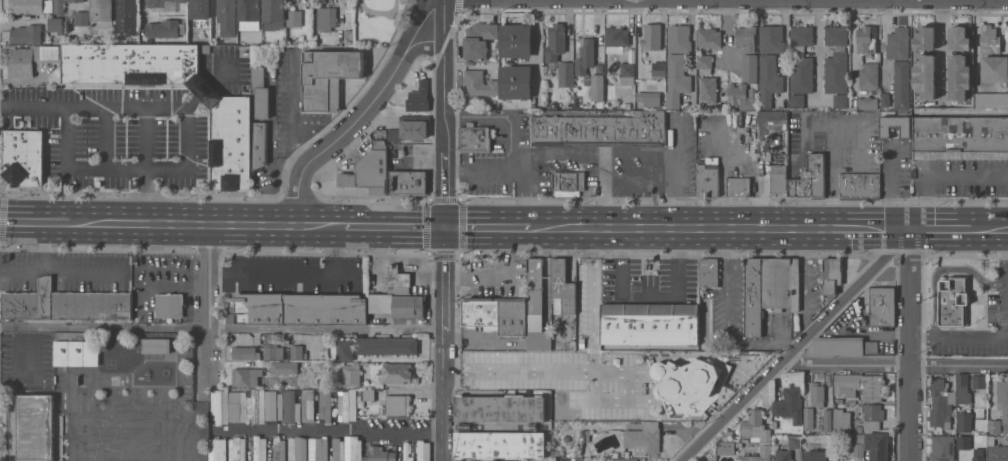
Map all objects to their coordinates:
building: (75, 0)
road: (618, 0)
building: (165, 1)
road: (878, 1)
road: (903, 1)
road: (795, 3)
building: (27, 6)
building: (201, 9)
building: (249, 10)
building: (102, 13)
building: (274, 14)
building: (57, 16)
building: (226, 17)
building: (82, 18)
building: (127, 18)
building: (294, 18)
building: (326, 18)
park: (377, 20)
building: (163, 28)
building: (28, 32)
road: (726, 34)
building: (652, 36)
building: (709, 37)
building: (925, 37)
building: (959, 37)
building: (679, 38)
building: (771, 38)
building: (479, 39)
building: (616, 39)
building: (867, 39)
building: (990, 39)
building: (516, 40)
building: (556, 41)
building: (898, 42)
road: (885, 43)
road: (821, 48)
building: (747, 51)
road: (941, 52)
building: (47, 53)
building: (585, 56)
road: (976, 57)
building: (801, 59)
building: (836, 59)
building: (704, 61)
building: (21, 63)
building: (129, 63)
building: (995, 68)
building: (658, 70)
building: (566, 73)
building: (628, 73)
building: (869, 76)
building: (925, 76)
building: (959, 76)
building: (328, 77)
building: (676, 80)
building: (769, 80)
building: (516, 82)
building: (478, 83)
building: (597, 84)
building: (902, 84)
building: (259, 88)
building: (709, 89)
building: (741, 96)
building: (419, 98)
building: (649, 98)
building: (797, 100)
building: (991, 100)
building: (840, 101)
building: (868, 103)
road: (127, 107)
road: (362, 113)
road: (962, 113)
building: (895, 126)
building: (410, 128)
building: (601, 129)
building: (769, 129)
road: (836, 129)
building: (475, 137)
building: (961, 137)
building: (231, 143)
road: (513, 143)
building: (259, 144)
road: (679, 144)
road: (736, 151)
road: (558, 152)
building: (25, 157)
road: (661, 161)
road: (147, 170)
building: (370, 170)
road: (940, 175)
building: (708, 177)
building: (778, 178)
road: (830, 178)
building: (809, 180)
building: (409, 181)
building: (568, 182)
building: (860, 185)
road: (891, 185)
building: (738, 186)
road: (604, 189)
road: (525, 194)
road: (44, 217)
road: (211, 220)
road: (390, 223)
traffic signals: (446, 224)
road: (496, 224)
road: (688, 226)
road: (871, 228)
road: (960, 228)
road: (445, 230)
road: (44, 244)
road: (943, 268)
road: (57, 271)
building: (708, 272)
building: (832, 274)
road: (296, 275)
road: (501, 276)
building: (399, 280)
parking lot: (649, 280)
building: (776, 282)
building: (795, 286)
building: (563, 288)
building: (534, 294)
road: (651, 294)
road: (593, 296)
building: (753, 296)
parking lot: (998, 300)
building: (953, 302)
road: (209, 303)
building: (65, 304)
building: (170, 305)
building: (881, 305)
building: (406, 306)
building: (298, 308)
building: (496, 314)
building: (650, 324)
road: (104, 326)
building: (583, 328)
road: (325, 329)
road: (984, 335)
building: (540, 341)
road: (912, 344)
building: (156, 345)
building: (387, 345)
building: (837, 347)
road: (796, 348)
building: (345, 349)
building: (77, 352)
building: (245, 352)
building: (297, 352)
building: (274, 353)
building: (120, 355)
building: (611, 355)
building: (636, 355)
road: (895, 362)
building: (515, 363)
building: (284, 367)
building: (397, 373)
building: (351, 375)
building: (246, 376)
building: (570, 379)
building: (979, 381)
road: (523, 382)
building: (684, 384)
building: (860, 385)
building: (963, 388)
building: (818, 394)
building: (369, 395)
building: (1003, 400)
building: (940, 402)
building: (325, 404)
building: (345, 404)
building: (398, 404)
building: (790, 404)
building: (235, 405)
building: (253, 405)
building: (219, 406)
building: (282, 406)
building: (308, 406)
building: (500, 407)
building: (873, 416)
building: (808, 418)
building: (827, 420)
building: (842, 421)
building: (965, 421)
building: (755, 426)
building: (994, 426)
building: (36, 427)
road: (328, 432)
building: (644, 438)
building: (795, 442)
building: (964, 442)
building: (500, 444)
building: (877, 445)
building: (856, 446)
building: (727, 447)
building: (943, 447)
building: (239, 448)
building: (259, 448)
building: (279, 448)
building: (297, 448)
building: (321, 448)
building: (356, 448)
building: (994, 448)
building: (217, 449)
building: (338, 449)
building: (766, 449)
building: (408, 451)
building: (423, 451)
building: (380, 454)
building: (784, 455)
building: (816, 455)
building: (625, 459)
building: (978, 459)
building: (563, 460)

